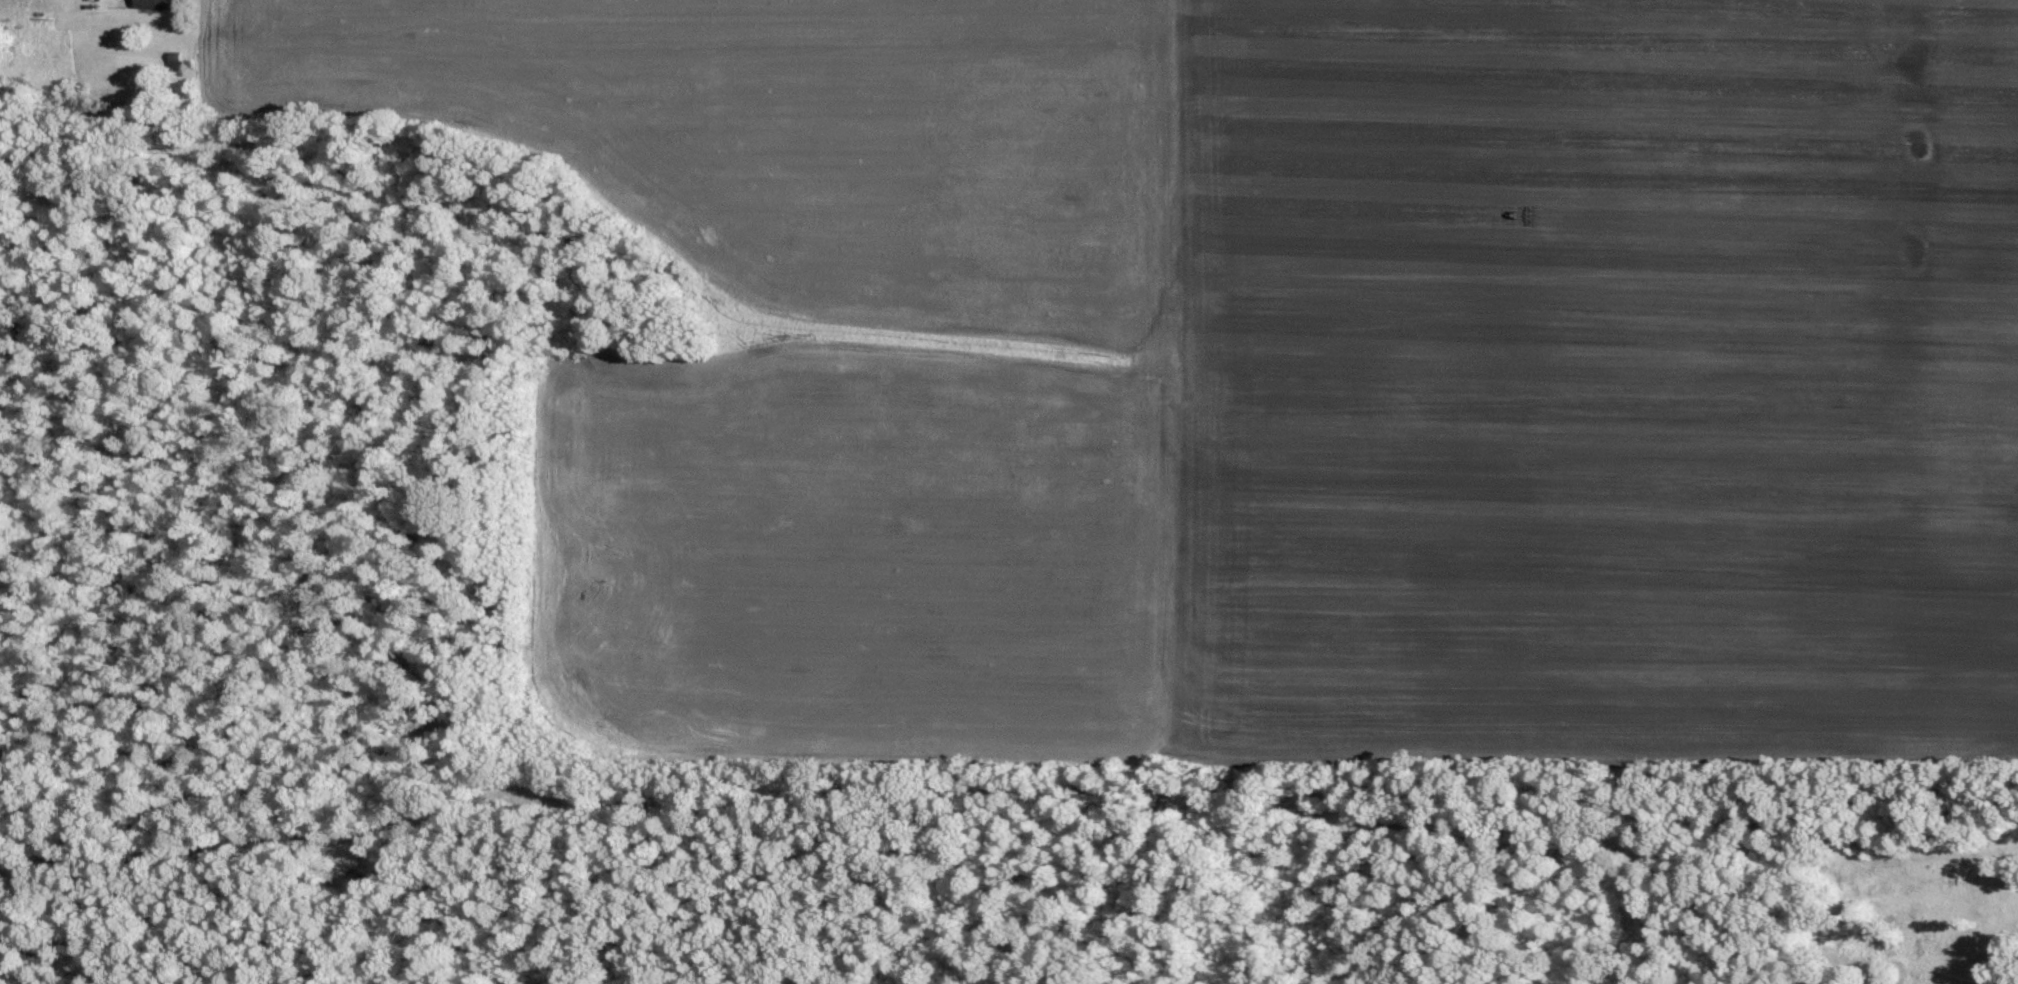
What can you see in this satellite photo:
building: (159, 3)

